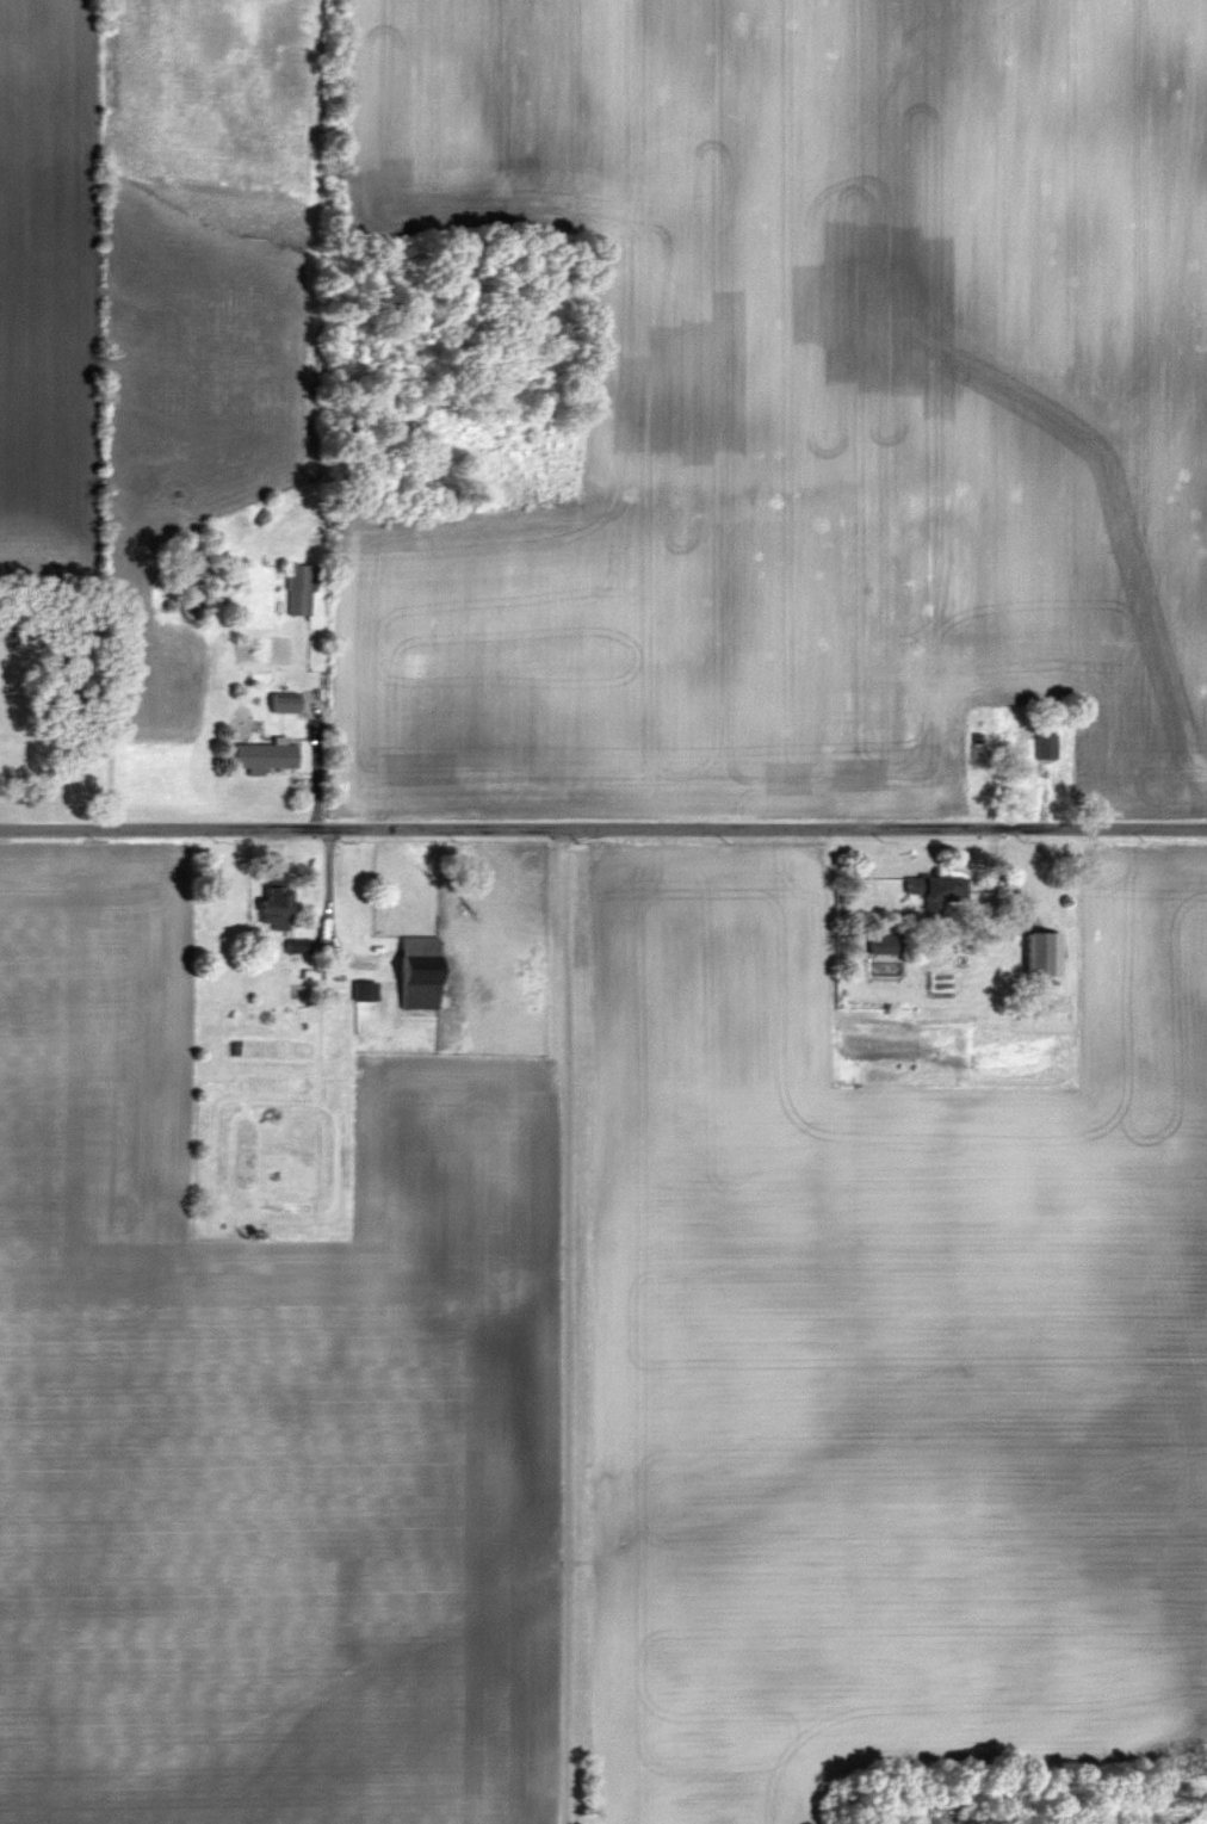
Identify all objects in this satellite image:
building: (297, 589)
building: (280, 705)
building: (1020, 737)
building: (1044, 747)
building: (264, 756)
road: (602, 829)
building: (935, 892)
building: (273, 908)
building: (884, 945)
building: (416, 947)
building: (1039, 953)
building: (415, 989)
road: (568, 1327)

